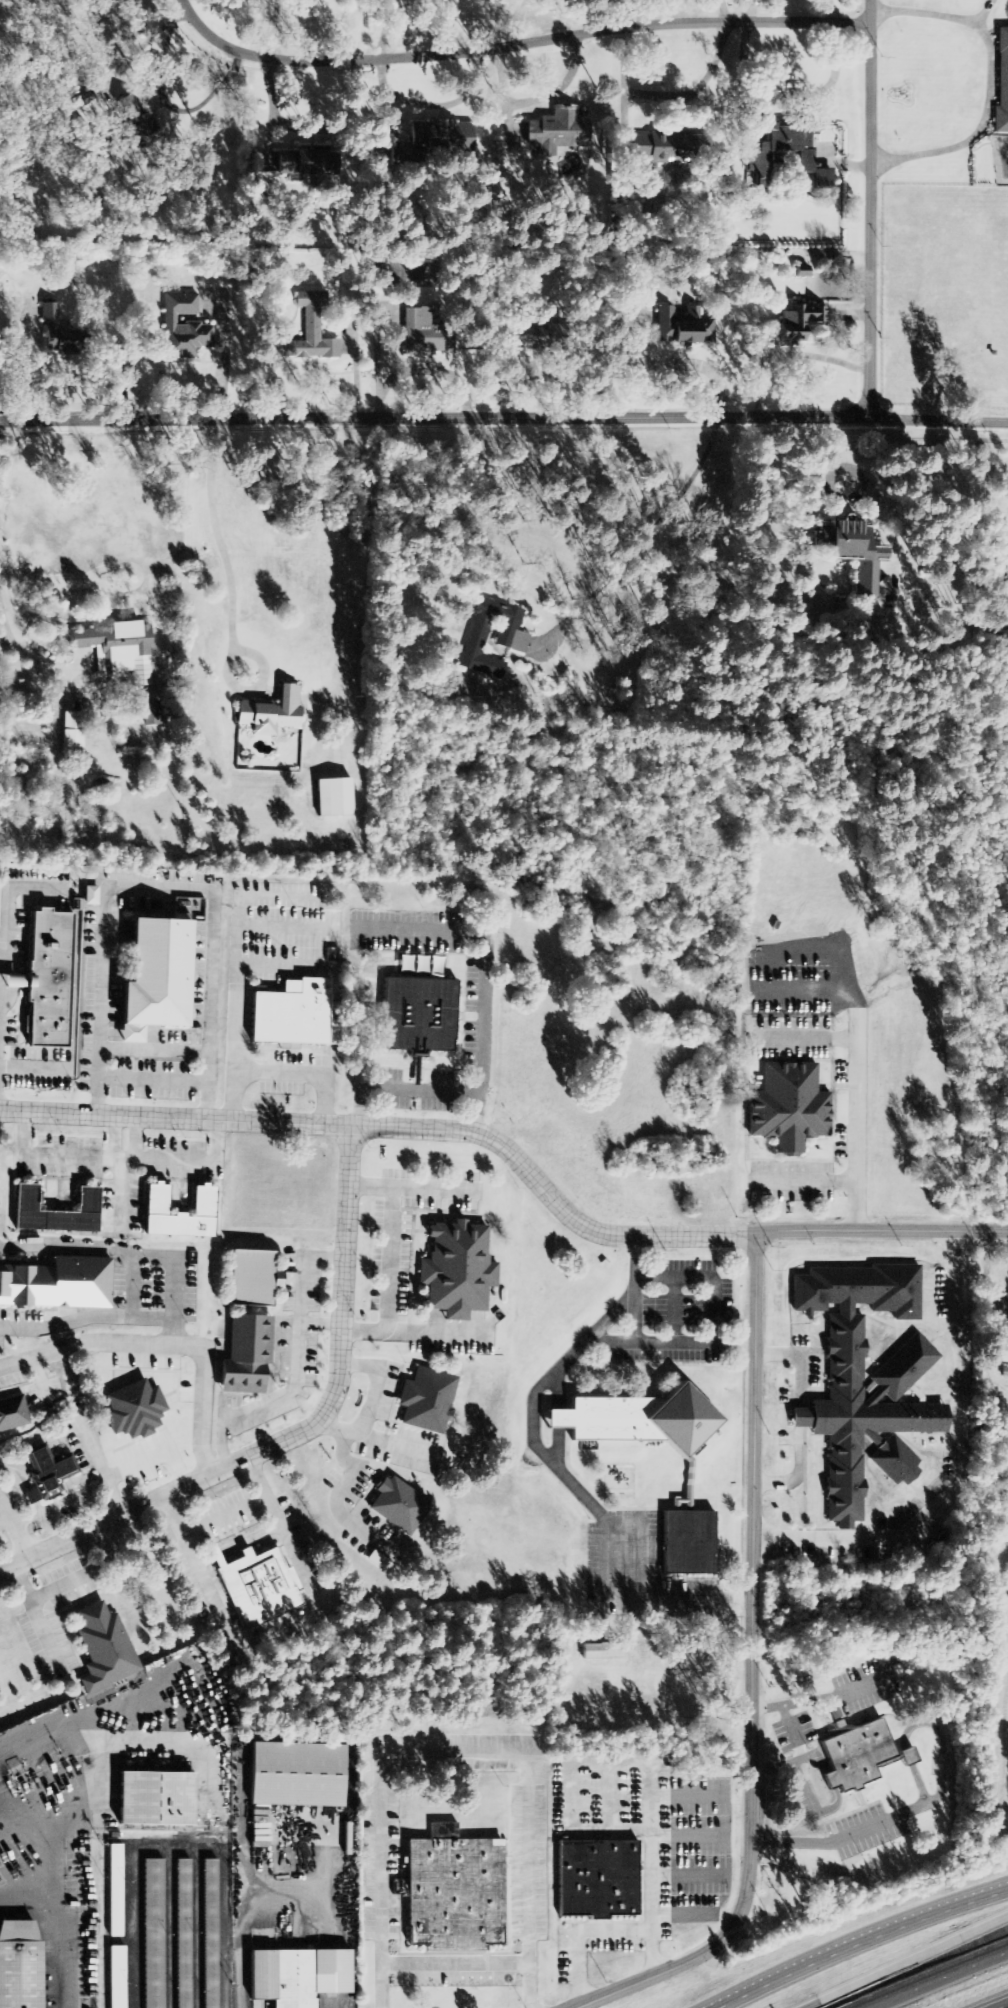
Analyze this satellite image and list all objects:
road: (509, 43)
building: (1002, 84)
building: (557, 129)
building: (129, 130)
building: (430, 139)
building: (666, 147)
building: (780, 149)
building: (298, 164)
building: (821, 179)
road: (864, 208)
building: (801, 271)
building: (798, 322)
building: (683, 327)
building: (184, 328)
building: (311, 331)
building: (417, 331)
building: (55, 332)
building: (529, 337)
road: (504, 417)
building: (849, 552)
building: (510, 640)
building: (119, 649)
building: (150, 713)
building: (269, 713)
building: (70, 734)
building: (333, 798)
building: (157, 976)
building: (48, 977)
building: (419, 1013)
building: (290, 1016)
building: (788, 1107)
road: (395, 1130)
building: (154, 1200)
building: (54, 1212)
road: (885, 1226)
building: (456, 1270)
building: (250, 1278)
building: (57, 1285)
building: (1002, 1305)
road: (164, 1344)
building: (244, 1356)
building: (865, 1381)
building: (426, 1400)
building: (133, 1410)
building: (13, 1414)
building: (634, 1419)
road: (82, 1430)
road: (294, 1433)
building: (48, 1472)
building: (29, 1497)
building: (396, 1506)
road: (15, 1528)
building: (686, 1538)
building: (257, 1587)
building: (103, 1648)
building: (700, 1650)
building: (601, 1651)
road: (755, 1664)
building: (854, 1755)
building: (907, 1757)
building: (294, 1775)
building: (152, 1800)
road: (846, 1840)
building: (595, 1880)
building: (114, 1891)
building: (451, 1892)
building: (152, 1934)
building: (183, 1934)
building: (210, 1934)
road: (853, 1940)
road: (906, 1959)
building: (18, 1966)
building: (295, 1976)
building: (116, 1977)
road: (940, 1979)
road: (996, 2003)

